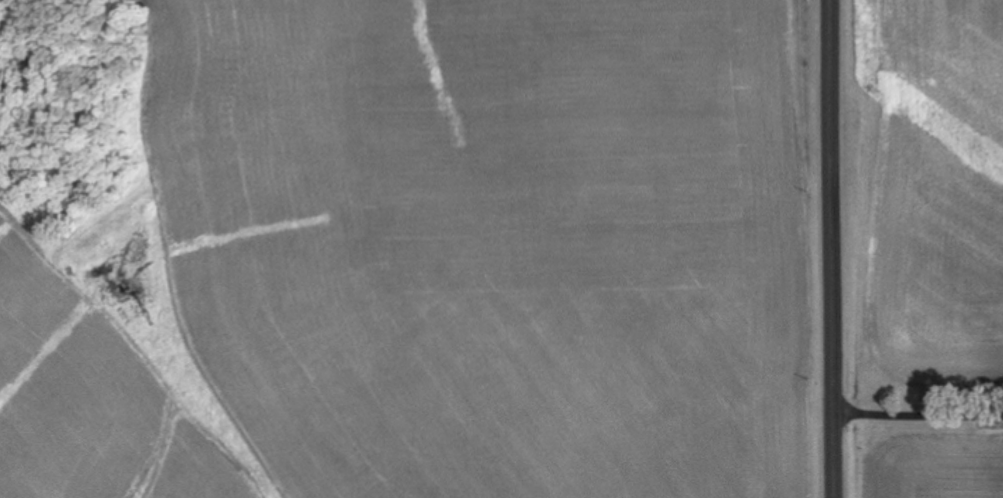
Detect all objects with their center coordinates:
road: (836, 249)
road: (919, 412)

